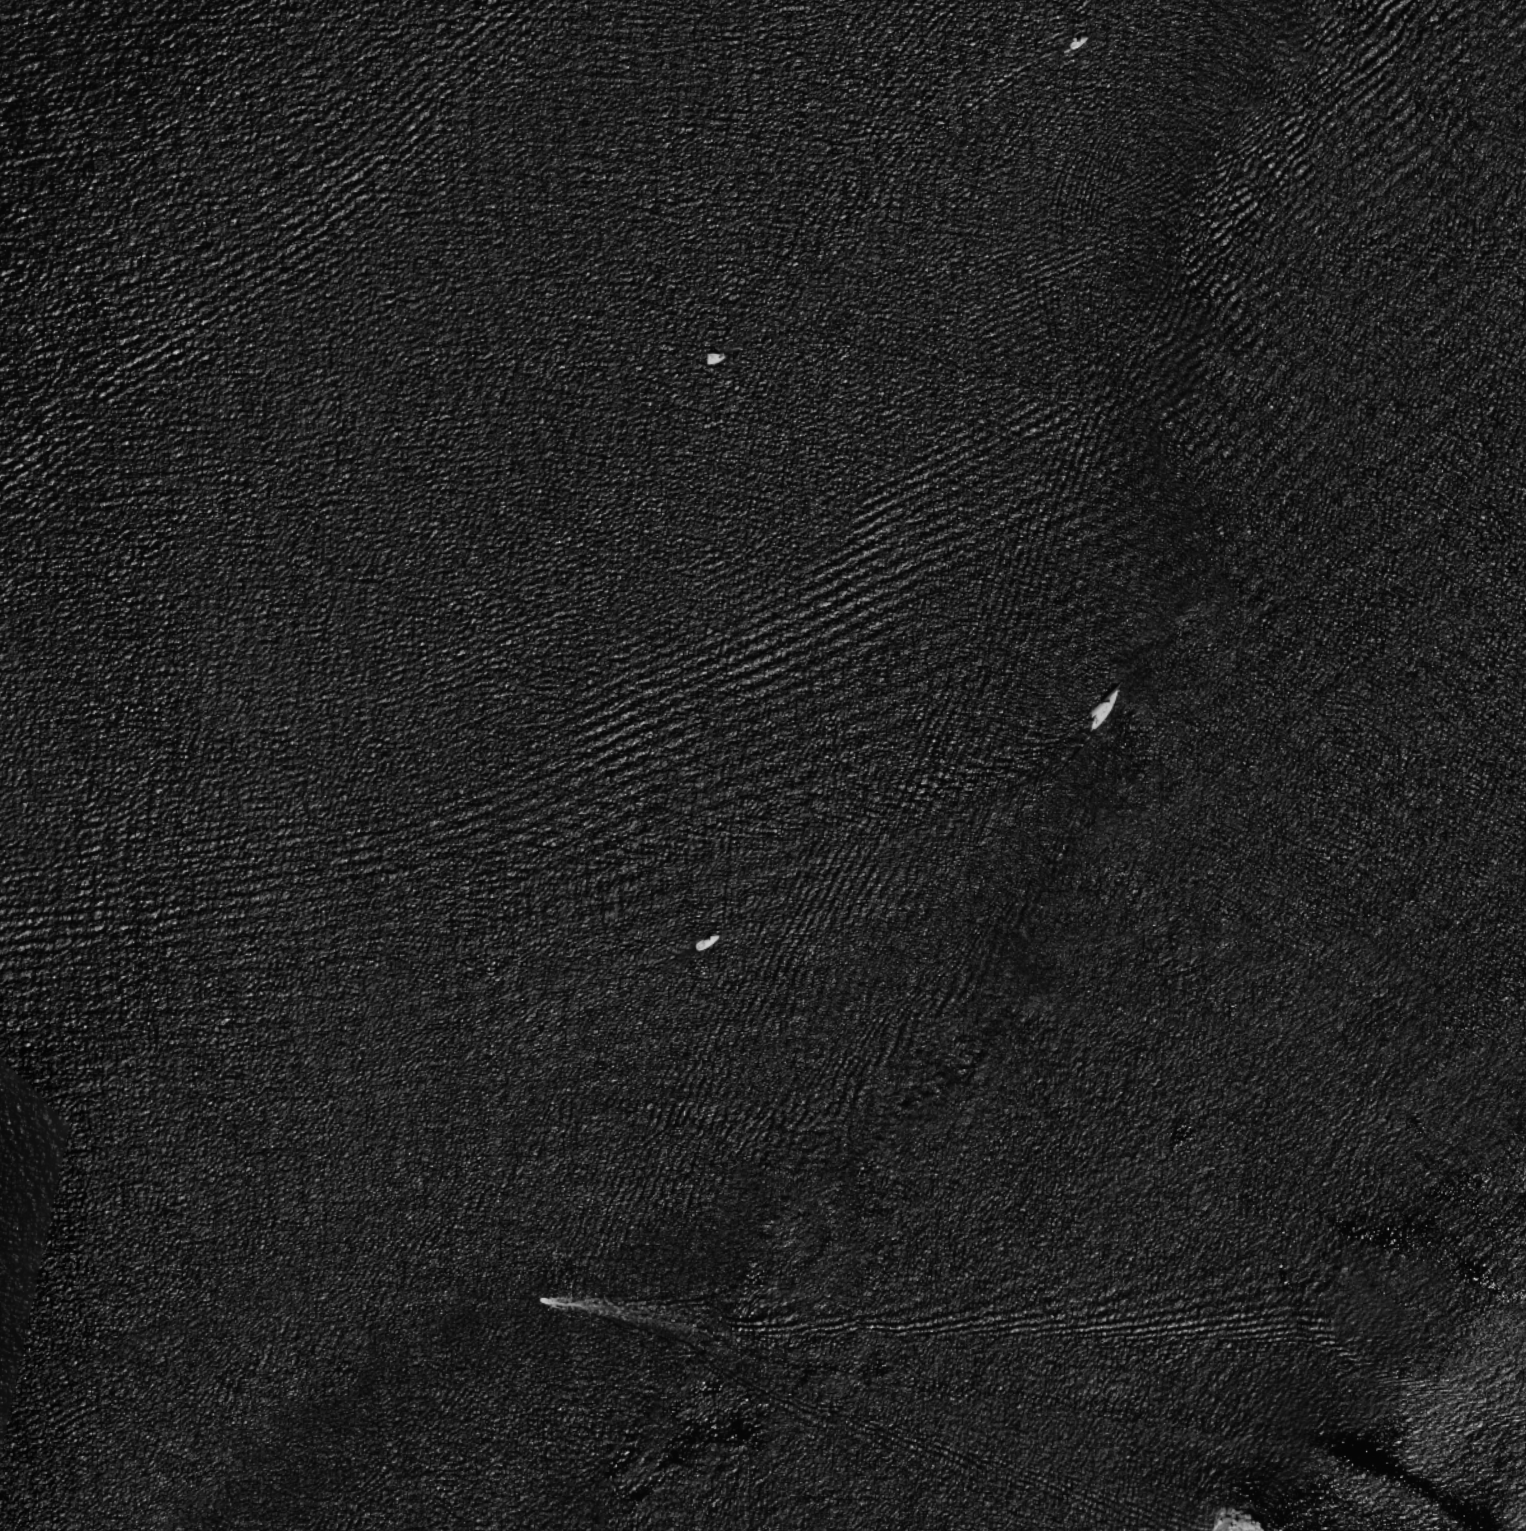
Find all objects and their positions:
park: (1238, 1521)

